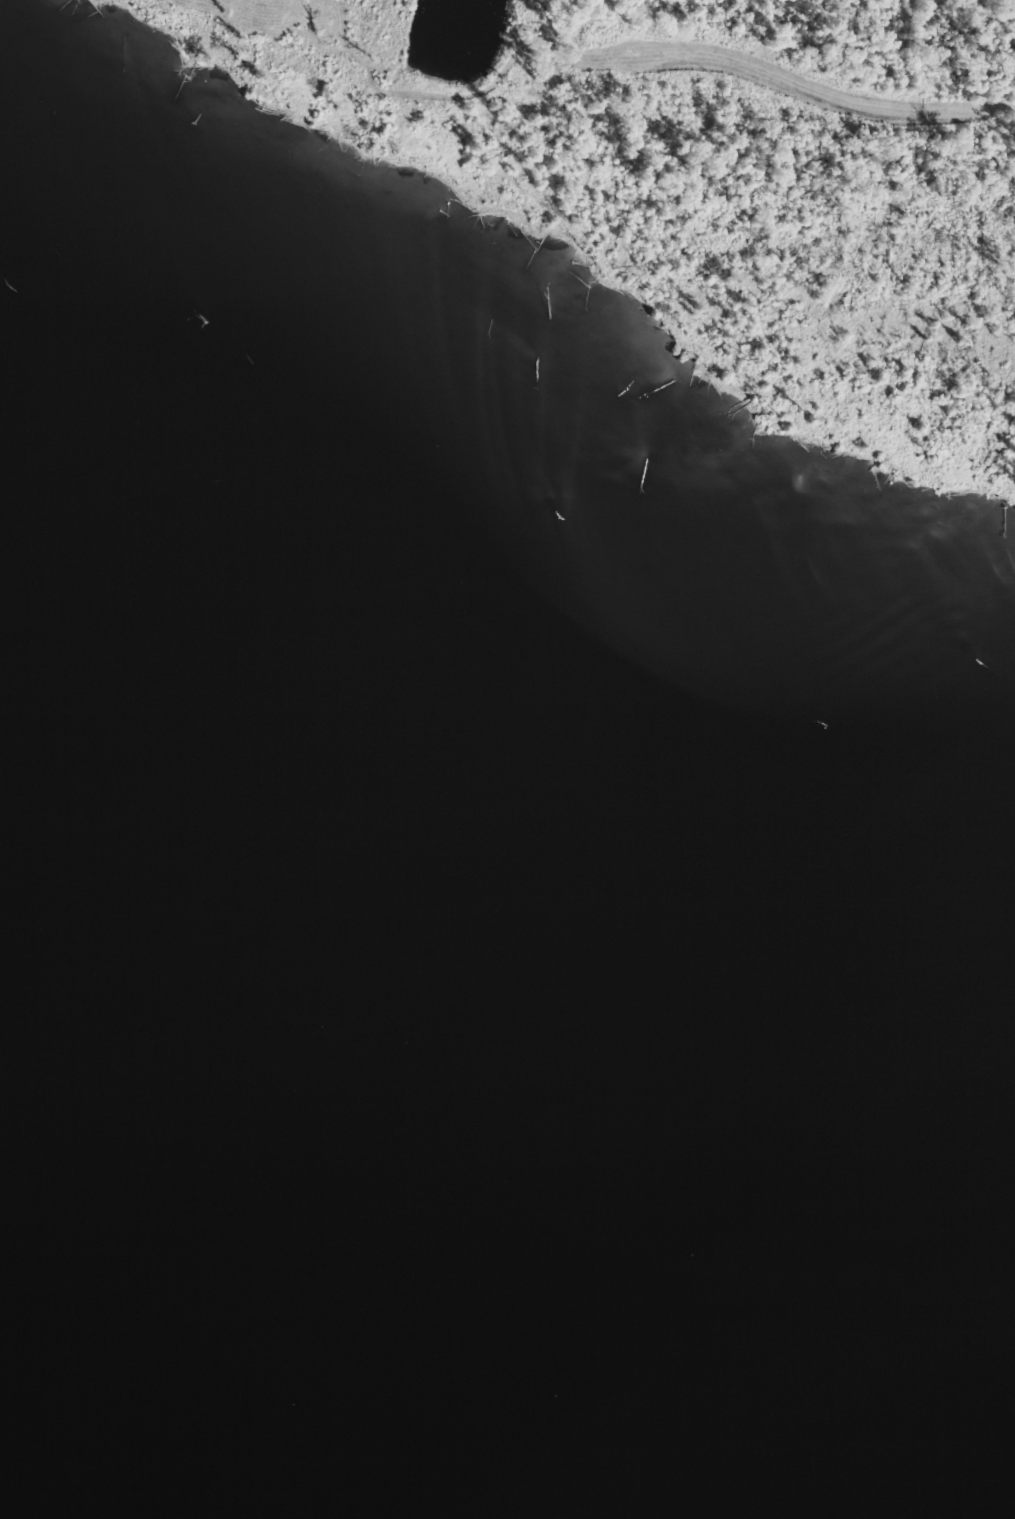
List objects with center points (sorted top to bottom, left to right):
road: (259, 10)

